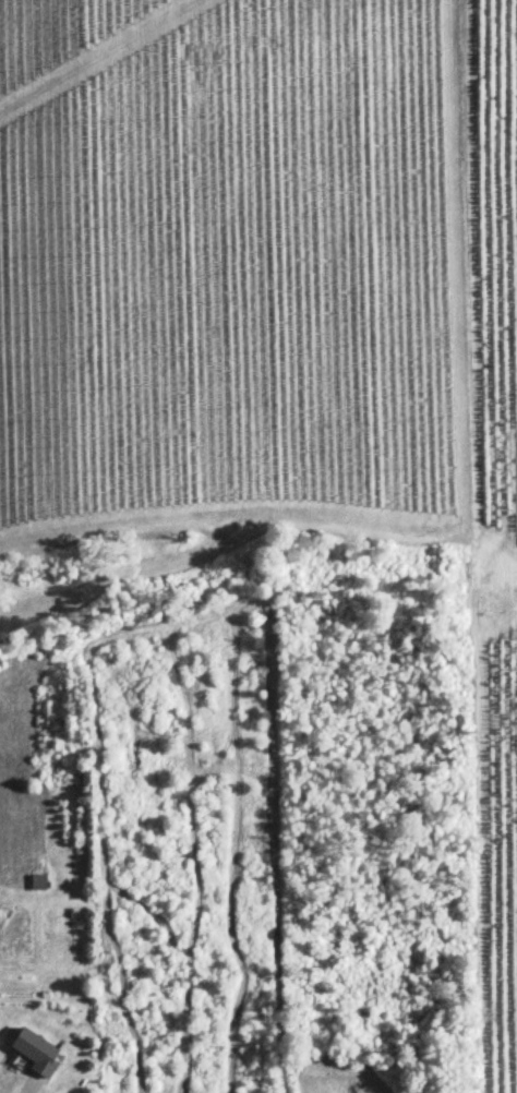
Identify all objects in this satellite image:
building: (39, 882)
building: (36, 1053)
road: (31, 1091)

